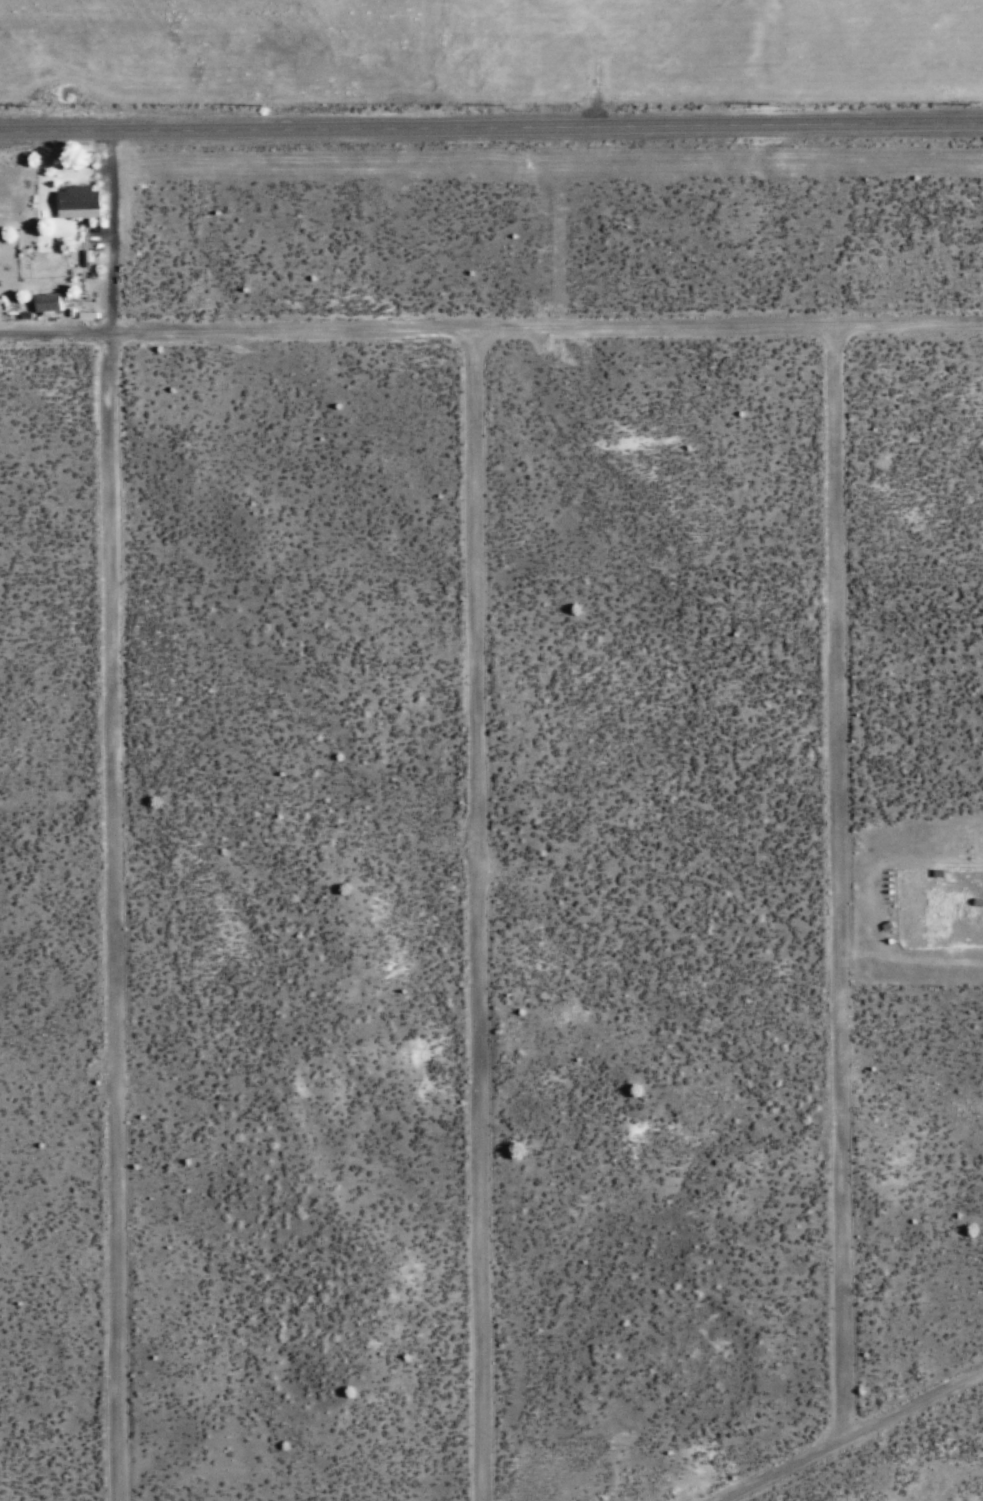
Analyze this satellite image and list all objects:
road: (491, 130)
building: (79, 203)
road: (113, 236)
building: (47, 303)
road: (491, 329)
road: (842, 886)
road: (482, 915)
road: (120, 919)
road: (857, 1440)

